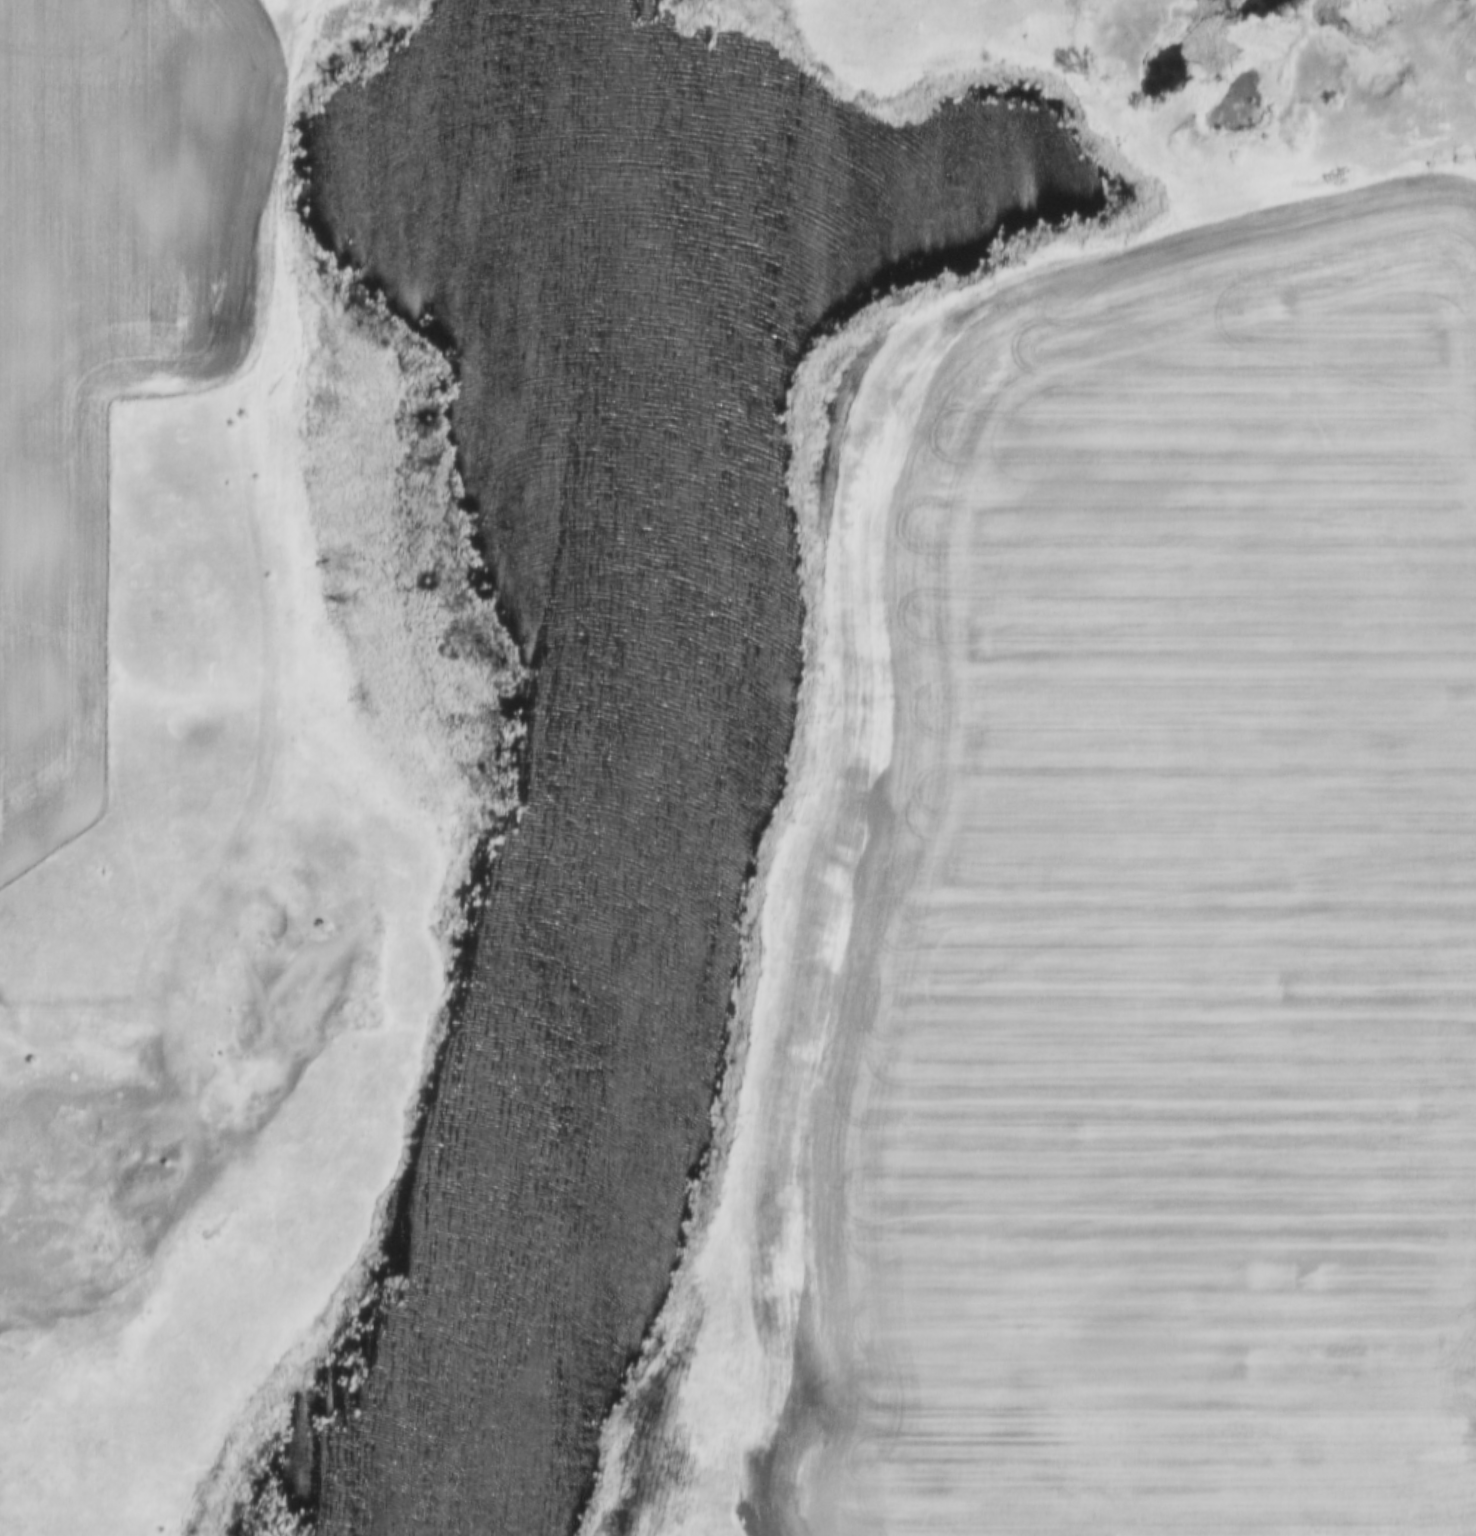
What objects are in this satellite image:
road: (1394, 42)
road: (1443, 136)

